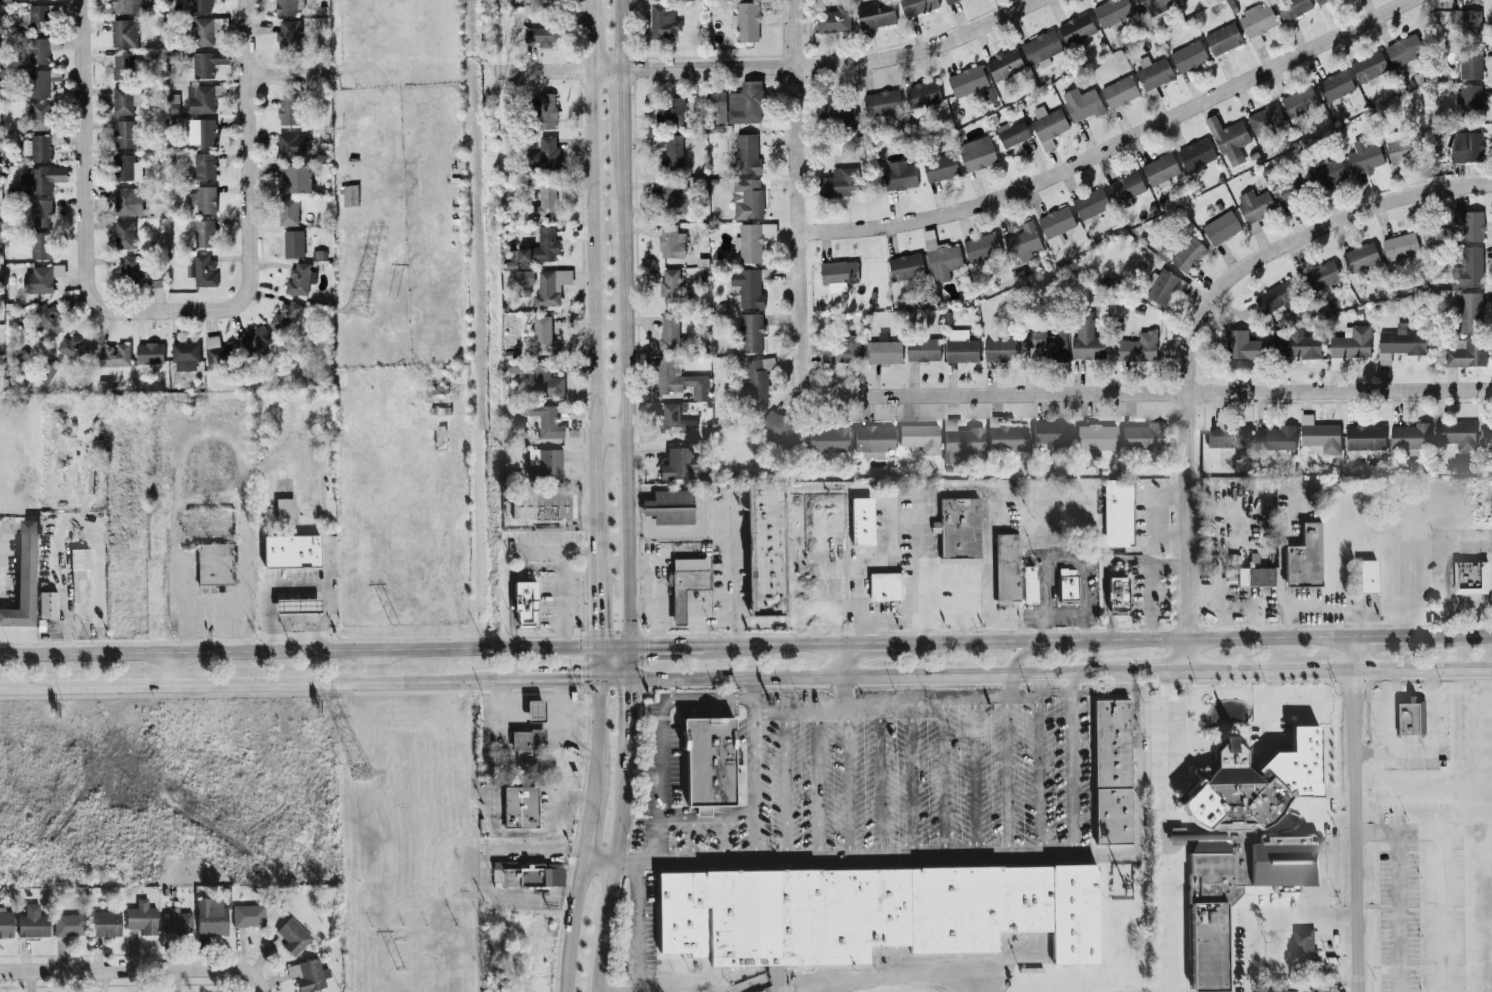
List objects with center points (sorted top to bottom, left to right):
building: (948, 1)
building: (1317, 1)
building: (1147, 4)
building: (199, 5)
building: (916, 5)
building: (126, 6)
building: (286, 6)
building: (1290, 7)
building: (1111, 11)
building: (875, 13)
building: (38, 17)
building: (832, 19)
building: (1256, 19)
building: (1464, 19)
building: (745, 20)
building: (662, 21)
building: (1076, 27)
building: (206, 29)
building: (123, 32)
building: (288, 33)
building: (541, 35)
building: (1223, 37)
building: (1039, 47)
building: (40, 49)
building: (1403, 49)
building: (1188, 55)
building: (206, 62)
building: (1004, 63)
building: (1470, 63)
building: (118, 65)
road: (769, 65)
building: (1368, 65)
building: (1152, 71)
road: (288, 73)
building: (966, 80)
building: (42, 81)
building: (1333, 84)
building: (1119, 90)
building: (921, 93)
building: (1469, 95)
building: (204, 97)
building: (124, 99)
building: (1299, 100)
building: (881, 101)
building: (1081, 102)
building: (737, 104)
building: (828, 105)
building: (287, 110)
building: (545, 110)
building: (668, 110)
building: (38, 115)
building: (1264, 118)
building: (1047, 125)
building: (204, 131)
building: (1011, 132)
building: (124, 133)
building: (1227, 138)
building: (290, 144)
road: (1108, 144)
building: (1399, 146)
building: (1466, 146)
building: (37, 147)
building: (547, 151)
building: (671, 152)
building: (746, 153)
building: (976, 153)
building: (1195, 153)
building: (1364, 158)
building: (126, 167)
building: (940, 167)
building: (1159, 169)
building: (1327, 172)
building: (897, 174)
building: (293, 178)
building: (40, 179)
building: (839, 181)
building: (1125, 186)
road: (246, 187)
building: (1289, 187)
road: (82, 190)
building: (347, 194)
building: (673, 197)
building: (746, 197)
building: (202, 198)
building: (545, 199)
building: (125, 200)
road: (796, 200)
building: (1089, 202)
building: (1253, 206)
building: (288, 210)
building: (41, 212)
building: (1055, 222)
building: (1468, 222)
building: (1220, 227)
building: (203, 232)
building: (123, 234)
road: (1296, 237)
building: (751, 240)
building: (670, 241)
building: (1022, 241)
building: (292, 242)
building: (40, 245)
building: (1399, 245)
building: (980, 246)
building: (534, 249)
building: (1188, 254)
building: (1360, 255)
building: (939, 256)
building: (905, 265)
building: (1466, 267)
building: (201, 269)
building: (137, 271)
building: (837, 273)
building: (1321, 273)
building: (524, 276)
building: (298, 277)
building: (41, 278)
building: (550, 285)
building: (748, 285)
building: (671, 287)
building: (1162, 287)
building: (1276, 296)
power tower: (355, 310)
building: (1469, 311)
building: (285, 315)
building: (47, 319)
road: (593, 323)
building: (669, 331)
building: (750, 332)
building: (543, 333)
building: (1085, 337)
building: (256, 338)
road: (622, 339)
building: (1046, 340)
building: (1350, 342)
building: (1398, 343)
building: (1456, 343)
building: (1242, 344)
building: (1296, 344)
building: (960, 345)
building: (73, 347)
building: (1137, 347)
building: (999, 348)
building: (841, 349)
building: (922, 349)
building: (883, 351)
building: (148, 352)
building: (218, 352)
building: (1466, 353)
building: (115, 355)
building: (185, 355)
building: (756, 376)
building: (678, 378)
building: (545, 380)
road: (1487, 386)
road: (1147, 392)
building: (674, 420)
building: (546, 421)
building: (778, 429)
road: (610, 431)
building: (1456, 433)
building: (1486, 433)
road: (209, 434)
building: (1053, 434)
building: (1318, 435)
building: (1227, 436)
building: (1364, 436)
building: (1409, 436)
building: (1006, 437)
building: (1143, 437)
building: (921, 438)
building: (1274, 438)
building: (828, 440)
building: (1097, 440)
building: (961, 441)
building: (875, 442)
building: (545, 465)
building: (679, 465)
building: (544, 504)
building: (670, 508)
road: (986, 510)
building: (286, 511)
building: (1119, 514)
building: (862, 522)
building: (960, 531)
road: (1187, 532)
road: (561, 551)
building: (766, 551)
building: (292, 552)
road: (858, 560)
building: (1304, 560)
road: (2, 564)
road: (1444, 567)
building: (1007, 568)
road: (923, 570)
road: (733, 573)
building: (80, 574)
building: (1249, 577)
building: (1368, 577)
building: (1472, 577)
road: (1044, 578)
building: (24, 580)
road: (1105, 580)
road: (973, 583)
building: (687, 584)
road: (1151, 584)
building: (1030, 586)
building: (1068, 586)
building: (884, 587)
road: (1282, 590)
road: (300, 591)
building: (1118, 593)
road: (656, 595)
road: (959, 596)
road: (1086, 596)
road: (564, 600)
road: (1468, 602)
building: (48, 605)
building: (525, 605)
road: (642, 606)
building: (299, 607)
road: (1337, 610)
road: (885, 619)
road: (680, 624)
road: (666, 625)
road: (700, 628)
road: (1086, 634)
road: (1457, 636)
road: (1387, 637)
road: (1131, 642)
road: (877, 645)
road: (775, 646)
road: (667, 647)
traffic signals: (597, 648)
road: (613, 648)
traffic signals: (629, 648)
road: (298, 651)
road: (1047, 652)
road: (844, 662)
road: (597, 664)
road: (373, 667)
road: (171, 669)
road: (1340, 669)
road: (1154, 672)
road: (873, 677)
road: (612, 679)
traffic signals: (628, 679)
road: (556, 680)
traffic signals: (597, 680)
road: (258, 685)
road: (1009, 687)
road: (752, 695)
road: (845, 695)
road: (944, 707)
road: (535, 708)
building: (536, 711)
road: (1394, 711)
building: (1411, 717)
road: (564, 727)
road: (661, 740)
building: (527, 741)
road: (1431, 749)
road: (1075, 765)
building: (1112, 773)
power tower: (361, 775)
road: (1039, 777)
road: (976, 778)
road: (1008, 778)
road: (912, 785)
road: (944, 785)
road: (847, 786)
road: (878, 786)
road: (754, 787)
road: (786, 787)
road: (816, 787)
building: (521, 808)
road: (1354, 815)
road: (707, 817)
road: (492, 832)
road: (1168, 832)
road: (618, 835)
road: (585, 836)
road: (722, 839)
road: (693, 840)
building: (1243, 841)
road: (966, 858)
road: (598, 861)
building: (528, 876)
road: (1443, 888)
road: (1398, 889)
building: (874, 914)
road: (1264, 916)
building: (249, 917)
building: (212, 918)
building: (143, 919)
building: (34, 924)
building: (178, 924)
building: (6, 925)
building: (106, 925)
building: (70, 926)
road: (638, 927)
building: (294, 937)
building: (1302, 947)
road: (137, 969)
road: (904, 975)
building: (309, 976)

